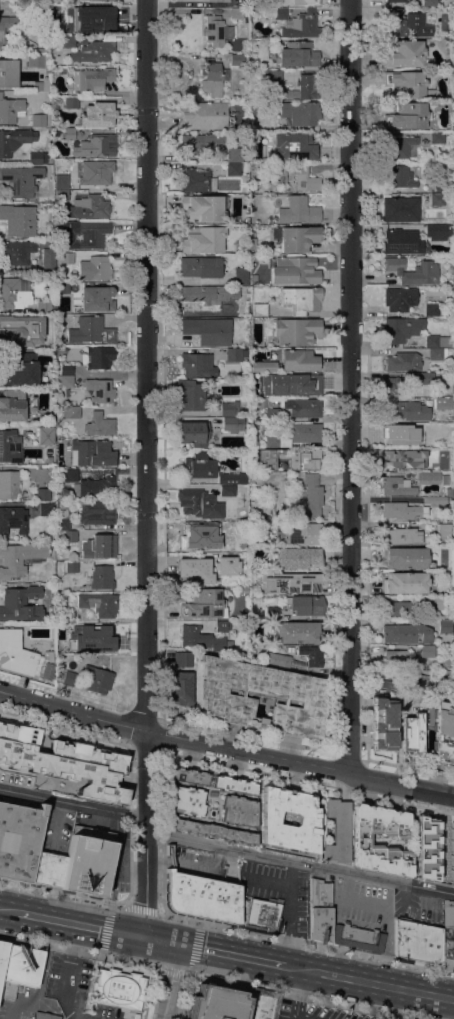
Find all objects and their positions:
building: (215, 0)
building: (396, 0)
building: (298, 2)
building: (429, 2)
building: (18, 6)
building: (237, 13)
building: (90, 18)
building: (295, 22)
building: (407, 23)
building: (216, 30)
building: (2, 33)
building: (65, 40)
building: (94, 51)
building: (297, 54)
building: (406, 54)
building: (238, 59)
building: (39, 61)
building: (8, 72)
building: (274, 76)
building: (91, 78)
building: (214, 78)
building: (408, 84)
building: (42, 85)
building: (305, 87)
building: (235, 96)
building: (71, 102)
building: (257, 107)
building: (11, 109)
building: (300, 112)
building: (97, 114)
building: (204, 114)
building: (407, 116)
building: (39, 120)
building: (68, 133)
building: (453, 134)
building: (437, 137)
building: (14, 139)
building: (203, 142)
building: (294, 143)
building: (96, 145)
building: (400, 147)
building: (234, 154)
building: (38, 157)
building: (246, 166)
building: (453, 167)
building: (233, 168)
building: (96, 171)
building: (278, 175)
building: (398, 176)
building: (22, 179)
building: (197, 180)
building: (61, 181)
building: (437, 183)
building: (275, 187)
building: (61, 194)
building: (437, 198)
building: (88, 207)
building: (203, 207)
building: (400, 208)
building: (299, 210)
building: (18, 220)
building: (438, 231)
building: (91, 234)
building: (298, 238)
building: (203, 239)
building: (401, 241)
building: (251, 243)
building: (16, 252)
building: (48, 257)
building: (67, 257)
building: (201, 266)
building: (95, 268)
building: (293, 270)
building: (426, 270)
building: (241, 276)
building: (253, 279)
building: (63, 288)
building: (14, 292)
building: (207, 293)
building: (97, 298)
building: (399, 298)
building: (301, 299)
building: (43, 305)
building: (432, 308)
building: (259, 309)
building: (23, 328)
building: (401, 328)
building: (90, 330)
building: (208, 330)
building: (296, 330)
building: (437, 341)
building: (436, 353)
building: (234, 354)
building: (99, 357)
building: (299, 359)
building: (403, 361)
building: (195, 363)
building: (264, 366)
building: (18, 367)
building: (65, 369)
building: (427, 378)
building: (282, 379)
building: (64, 380)
building: (307, 382)
building: (264, 385)
road: (348, 385)
building: (393, 385)
building: (99, 390)
building: (189, 395)
building: (443, 403)
building: (12, 405)
building: (305, 407)
building: (227, 408)
building: (406, 410)
building: (71, 412)
building: (271, 415)
building: (233, 423)
building: (99, 424)
building: (426, 425)
building: (444, 427)
building: (47, 432)
building: (305, 432)
building: (194, 433)
building: (397, 436)
building: (272, 440)
building: (10, 445)
building: (440, 449)
building: (92, 452)
building: (427, 452)
building: (290, 457)
building: (49, 458)
building: (398, 459)
building: (201, 464)
road: (145, 468)
building: (69, 475)
building: (423, 475)
building: (233, 477)
building: (445, 479)
building: (8, 483)
building: (95, 486)
building: (396, 486)
building: (228, 490)
building: (42, 493)
building: (307, 494)
building: (435, 500)
building: (199, 503)
building: (46, 508)
building: (401, 510)
building: (97, 512)
building: (62, 514)
building: (12, 519)
building: (444, 532)
building: (301, 533)
building: (70, 535)
building: (197, 535)
building: (396, 536)
building: (222, 545)
building: (99, 546)
building: (19, 557)
building: (297, 557)
building: (405, 557)
building: (222, 558)
building: (71, 566)
building: (193, 573)
building: (215, 574)
building: (101, 577)
building: (292, 581)
building: (405, 582)
building: (437, 602)
building: (20, 603)
building: (99, 603)
building: (203, 603)
building: (305, 604)
building: (396, 608)
building: (272, 613)
building: (68, 615)
building: (219, 625)
building: (444, 626)
building: (297, 631)
building: (453, 631)
building: (98, 633)
building: (407, 633)
building: (202, 638)
building: (67, 644)
building: (34, 646)
building: (427, 650)
building: (13, 655)
building: (46, 656)
building: (395, 657)
building: (183, 658)
building: (312, 658)
building: (277, 659)
building: (301, 662)
building: (48, 671)
building: (69, 678)
building: (98, 679)
building: (405, 682)
building: (180, 688)
building: (227, 698)
building: (383, 724)
building: (443, 731)
building: (414, 732)
road: (225, 746)
road: (129, 758)
building: (65, 761)
building: (186, 776)
building: (234, 784)
building: (211, 793)
building: (185, 801)
building: (238, 810)
building: (305, 820)
building: (212, 831)
building: (337, 831)
building: (450, 836)
building: (18, 840)
building: (361, 841)
building: (425, 842)
road: (224, 846)
building: (86, 861)
parking lot: (202, 863)
building: (47, 869)
parking lot: (278, 892)
road: (60, 893)
building: (202, 898)
parking lot: (362, 905)
parking lot: (417, 907)
road: (138, 908)
road: (8, 910)
building: (320, 910)
road: (289, 913)
building: (263, 914)
road: (77, 924)
road: (105, 929)
building: (447, 934)
parking lot: (447, 934)
traffic signals: (139, 936)
building: (357, 938)
road: (157, 940)
road: (305, 942)
building: (417, 943)
traffic signals: (176, 944)
road: (79, 950)
building: (2, 954)
road: (228, 955)
road: (191, 962)
road: (292, 968)
building: (19, 969)
road: (64, 979)
road: (169, 981)
road: (379, 984)
parking lot: (72, 985)
building: (118, 988)
road: (298, 995)
road: (304, 996)
building: (216, 1003)
road: (393, 1003)
building: (261, 1004)
building: (45, 1016)
road: (301, 1017)
building: (410, 1018)

